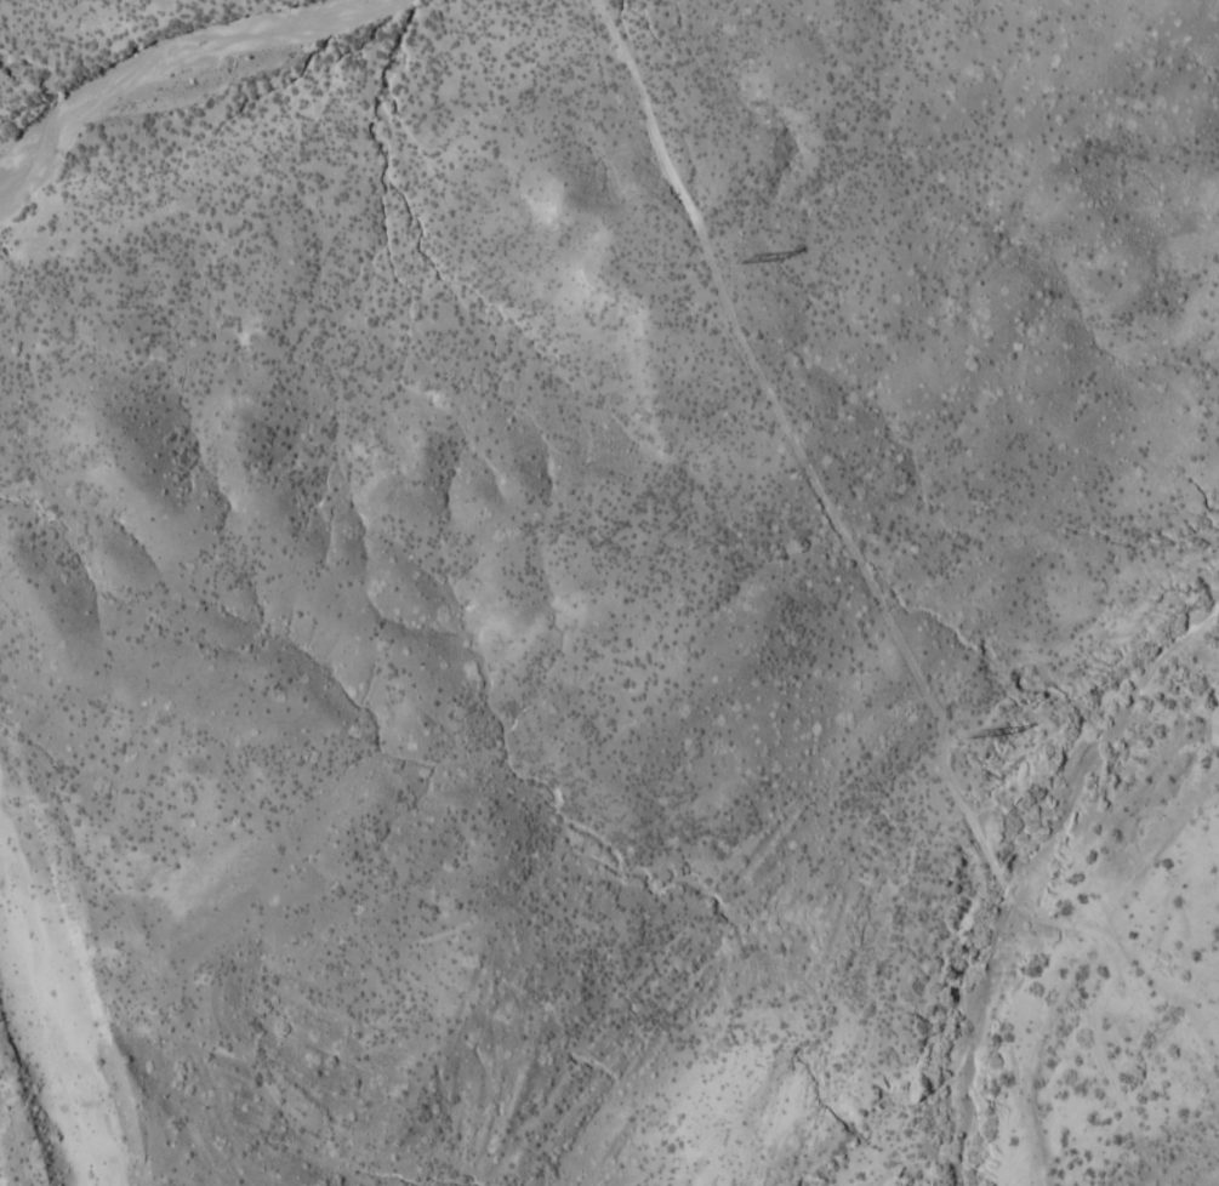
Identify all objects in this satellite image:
power tower: (748, 258)
power tower: (974, 731)

